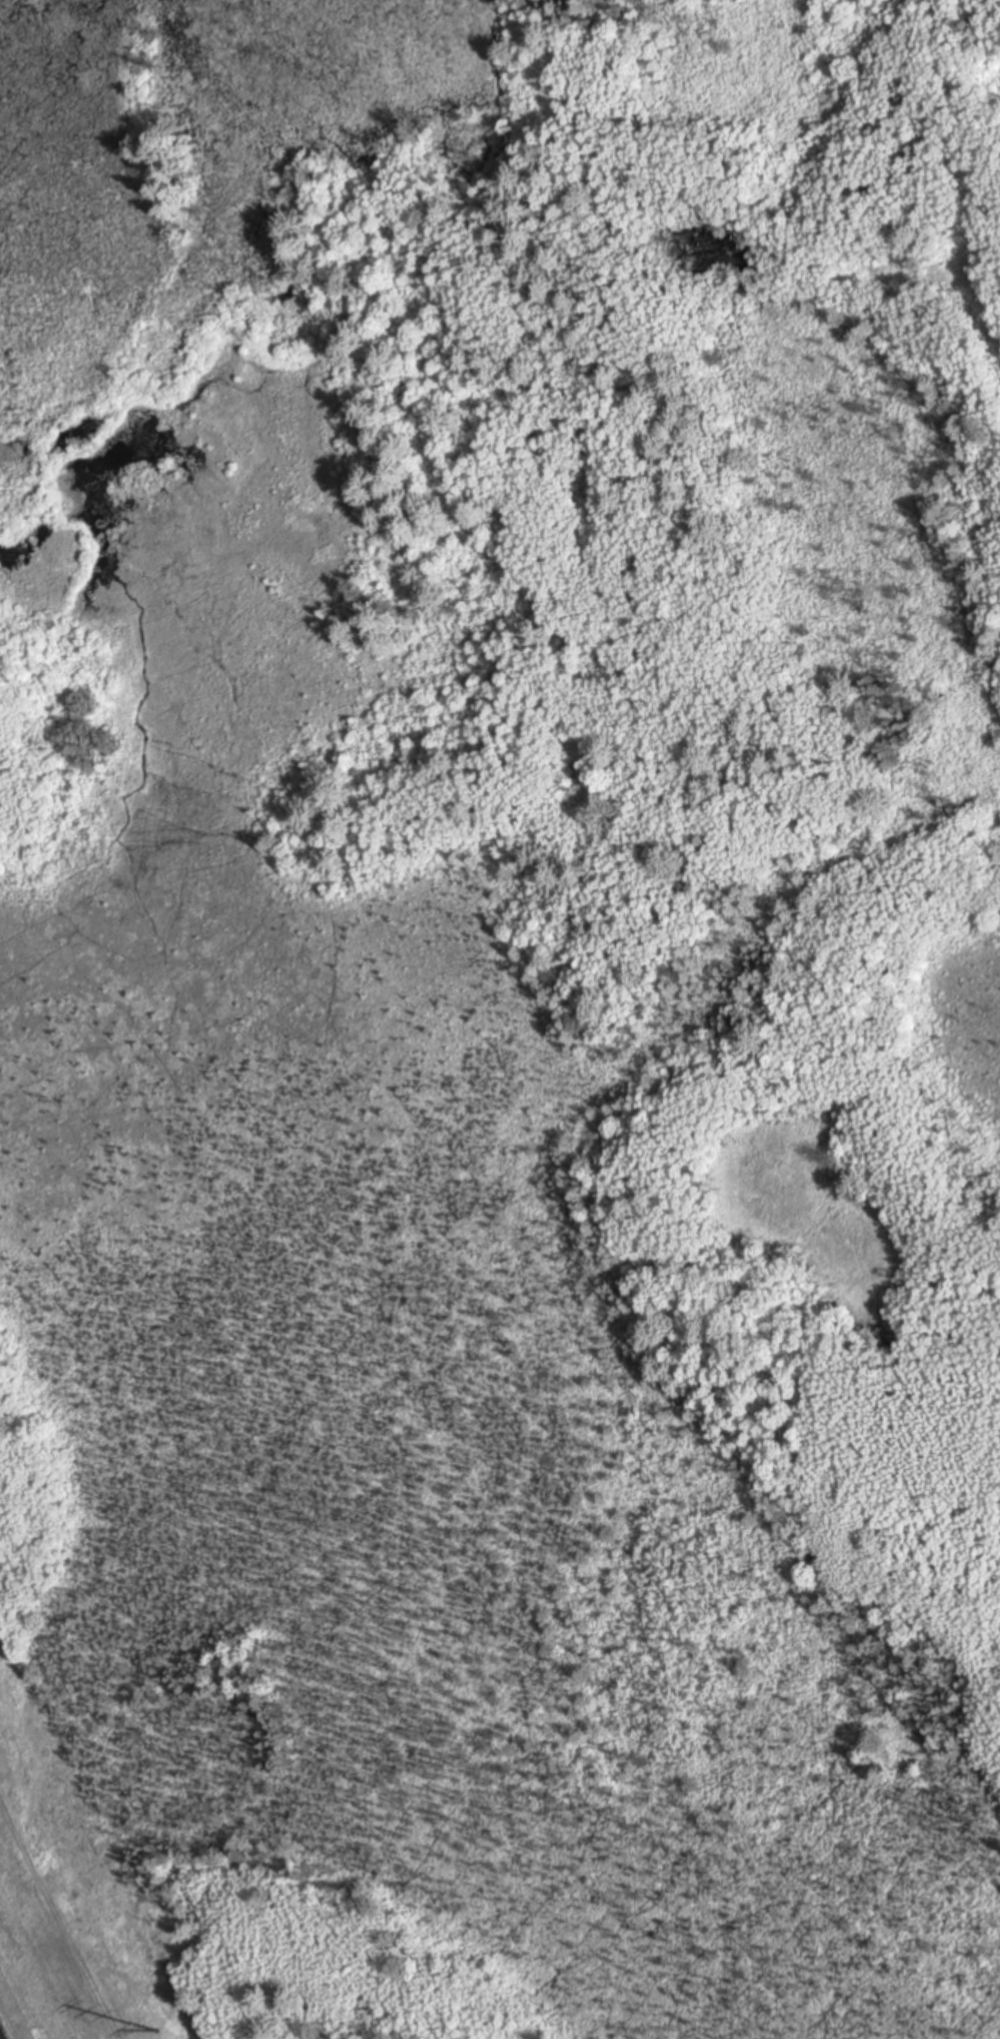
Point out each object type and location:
power tower: (156, 2031)

